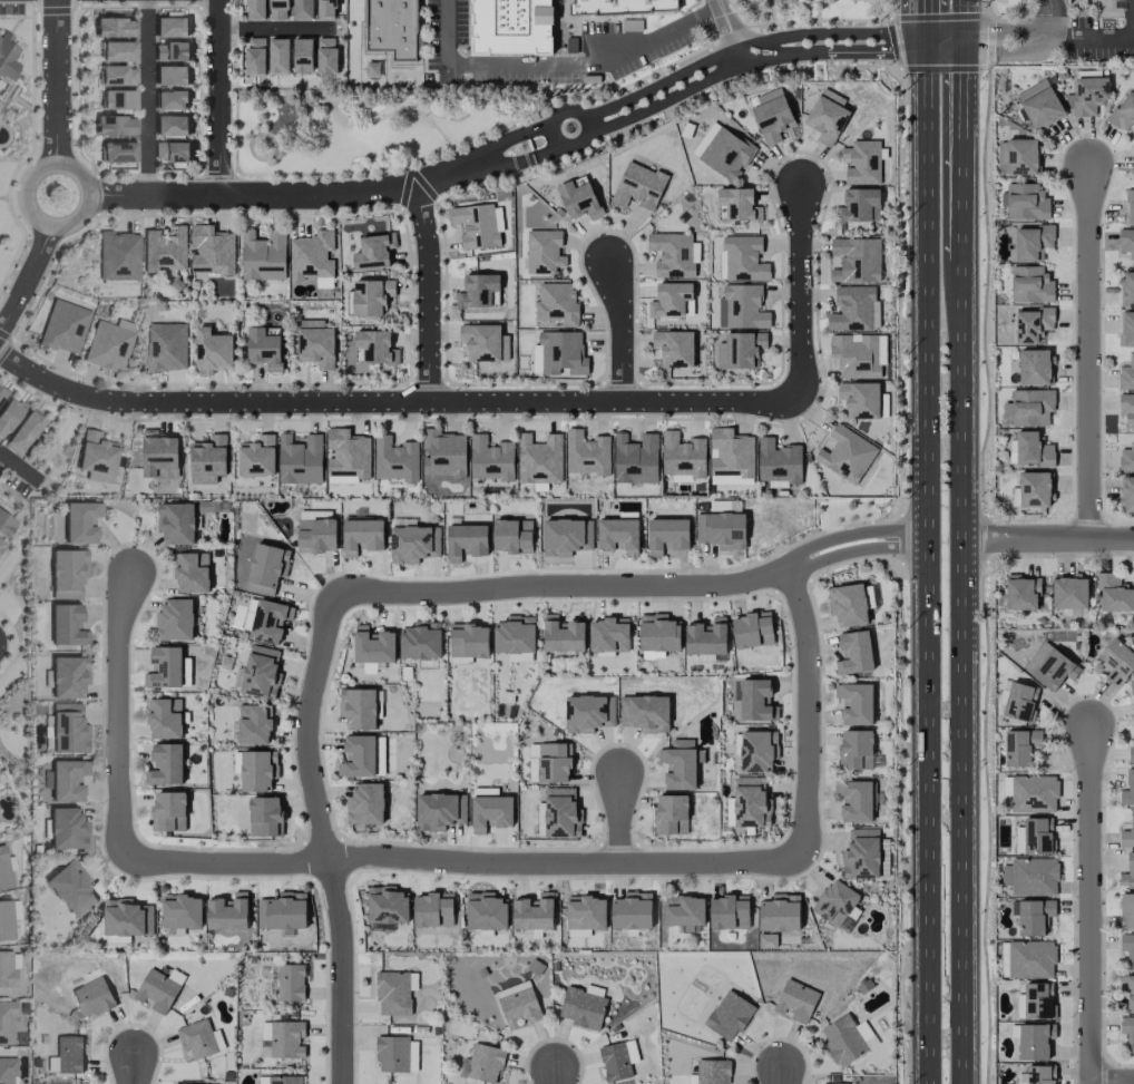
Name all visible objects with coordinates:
building: (625, 6)
building: (326, 8)
parking lot: (11, 9)
building: (255, 9)
building: (278, 9)
building: (303, 9)
road: (1046, 16)
road: (965, 21)
road: (926, 22)
building: (170, 25)
building: (113, 27)
building: (392, 27)
road: (276, 29)
road: (1016, 31)
road: (729, 33)
road: (911, 43)
road: (946, 43)
traffic signals: (966, 43)
road: (1099, 43)
traffic signals: (927, 45)
building: (116, 50)
road: (740, 50)
building: (170, 51)
building: (278, 56)
building: (302, 56)
building: (326, 56)
road: (1015, 56)
building: (7, 57)
building: (255, 57)
road: (555, 64)
building: (170, 75)
building: (117, 76)
road: (53, 81)
road: (711, 81)
building: (1089, 95)
road: (221, 96)
road: (147, 97)
building: (117, 99)
building: (170, 99)
building: (1039, 104)
building: (1123, 111)
road: (556, 116)
building: (772, 116)
building: (827, 116)
road: (595, 123)
building: (113, 125)
building: (170, 125)
building: (705, 138)
road: (966, 143)
road: (497, 144)
building: (116, 152)
building: (170, 152)
building: (726, 154)
building: (1019, 156)
building: (862, 163)
road: (505, 165)
building: (1133, 178)
building: (638, 186)
road: (281, 193)
building: (578, 199)
building: (1026, 202)
building: (739, 204)
building: (859, 206)
building: (1131, 206)
road: (35, 217)
building: (478, 225)
building: (1033, 242)
building: (1126, 242)
building: (165, 250)
building: (212, 250)
building: (373, 252)
building: (544, 252)
building: (674, 254)
building: (118, 255)
building: (263, 255)
building: (312, 255)
building: (744, 257)
building: (857, 260)
road: (27, 276)
building: (1030, 284)
building: (1127, 289)
building: (479, 291)
road: (428, 293)
building: (372, 296)
building: (669, 300)
building: (557, 303)
building: (742, 306)
building: (854, 309)
building: (1032, 324)
road: (618, 325)
building: (62, 326)
building: (1126, 329)
building: (315, 343)
building: (108, 344)
building: (166, 346)
building: (375, 346)
building: (674, 348)
building: (264, 349)
building: (740, 350)
building: (212, 351)
road: (1087, 352)
building: (563, 353)
building: (856, 355)
building: (1034, 367)
building: (1126, 373)
building: (1, 392)
building: (860, 399)
road: (498, 401)
building: (1029, 407)
building: (1126, 410)
building: (7, 416)
building: (22, 432)
building: (1029, 449)
building: (443, 453)
building: (586, 453)
building: (159, 455)
building: (682, 455)
building: (845, 455)
building: (731, 456)
building: (95, 457)
building: (256, 457)
building: (348, 457)
road: (1, 458)
building: (1126, 458)
building: (208, 459)
building: (300, 459)
building: (394, 459)
building: (490, 459)
building: (540, 459)
building: (635, 459)
building: (779, 462)
road: (19, 469)
building: (1034, 489)
building: (1127, 494)
building: (78, 523)
building: (176, 523)
building: (4, 525)
building: (316, 530)
building: (722, 530)
road: (852, 534)
building: (667, 535)
building: (362, 536)
building: (512, 536)
building: (566, 536)
building: (618, 536)
road: (1049, 539)
building: (466, 540)
building: (1, 541)
building: (411, 544)
road: (857, 550)
road: (928, 564)
building: (265, 568)
building: (192, 572)
building: (66, 573)
road: (563, 586)
building: (1021, 593)
building: (1069, 593)
building: (1114, 594)
building: (847, 604)
building: (175, 619)
building: (264, 621)
building: (65, 624)
building: (752, 629)
building: (658, 633)
building: (515, 635)
building: (563, 635)
building: (608, 635)
building: (706, 637)
building: (421, 641)
building: (469, 641)
building: (373, 648)
building: (854, 653)
building: (1116, 661)
road: (966, 663)
building: (1049, 666)
building: (164, 667)
building: (261, 672)
building: (67, 676)
building: (755, 699)
building: (1019, 701)
building: (854, 703)
building: (358, 707)
building: (588, 713)
building: (645, 713)
road: (808, 715)
building: (165, 717)
road: (120, 720)
building: (253, 724)
road: (309, 727)
building: (67, 729)
building: (1020, 746)
building: (856, 750)
building: (755, 751)
building: (1131, 753)
building: (358, 756)
building: (549, 762)
building: (165, 764)
building: (678, 768)
building: (257, 770)
building: (65, 780)
building: (1127, 790)
building: (1034, 793)
building: (854, 800)
building: (365, 803)
building: (490, 809)
building: (168, 811)
building: (439, 811)
building: (560, 811)
building: (671, 814)
building: (264, 816)
building: (540, 819)
road: (620, 819)
building: (65, 828)
building: (1127, 834)
building: (1035, 836)
building: (861, 853)
road: (465, 863)
building: (3, 870)
building: (1128, 872)
building: (1034, 877)
building: (70, 888)
building: (834, 902)
road: (1088, 906)
building: (385, 908)
building: (433, 909)
building: (684, 910)
building: (1127, 910)
building: (182, 911)
building: (227, 911)
building: (283, 911)
building: (486, 911)
building: (632, 911)
building: (729, 911)
building: (534, 912)
building: (780, 912)
building: (585, 915)
building: (1032, 916)
building: (123, 919)
building: (6, 920)
building: (1127, 947)
building: (1030, 959)
building: (8, 969)
road: (342, 971)
building: (290, 982)
building: (159, 989)
building: (1127, 989)
building: (394, 992)
building: (92, 997)
building: (795, 1000)
building: (1035, 1002)
building: (583, 1006)
building: (519, 1007)
building: (729, 1015)
building: (6, 1022)
building: (1127, 1032)
building: (199, 1038)
building: (287, 1038)
building: (848, 1039)
building: (1034, 1041)
building: (392, 1053)
building: (68, 1054)
building: (618, 1059)
building: (485, 1063)
road: (134, 1070)
building: (7, 1071)
building: (713, 1072)
building: (1040, 1074)
road: (555, 1076)
road: (782, 1076)
building: (280, 1080)
road: (1112, 1080)
building: (185, 1083)

